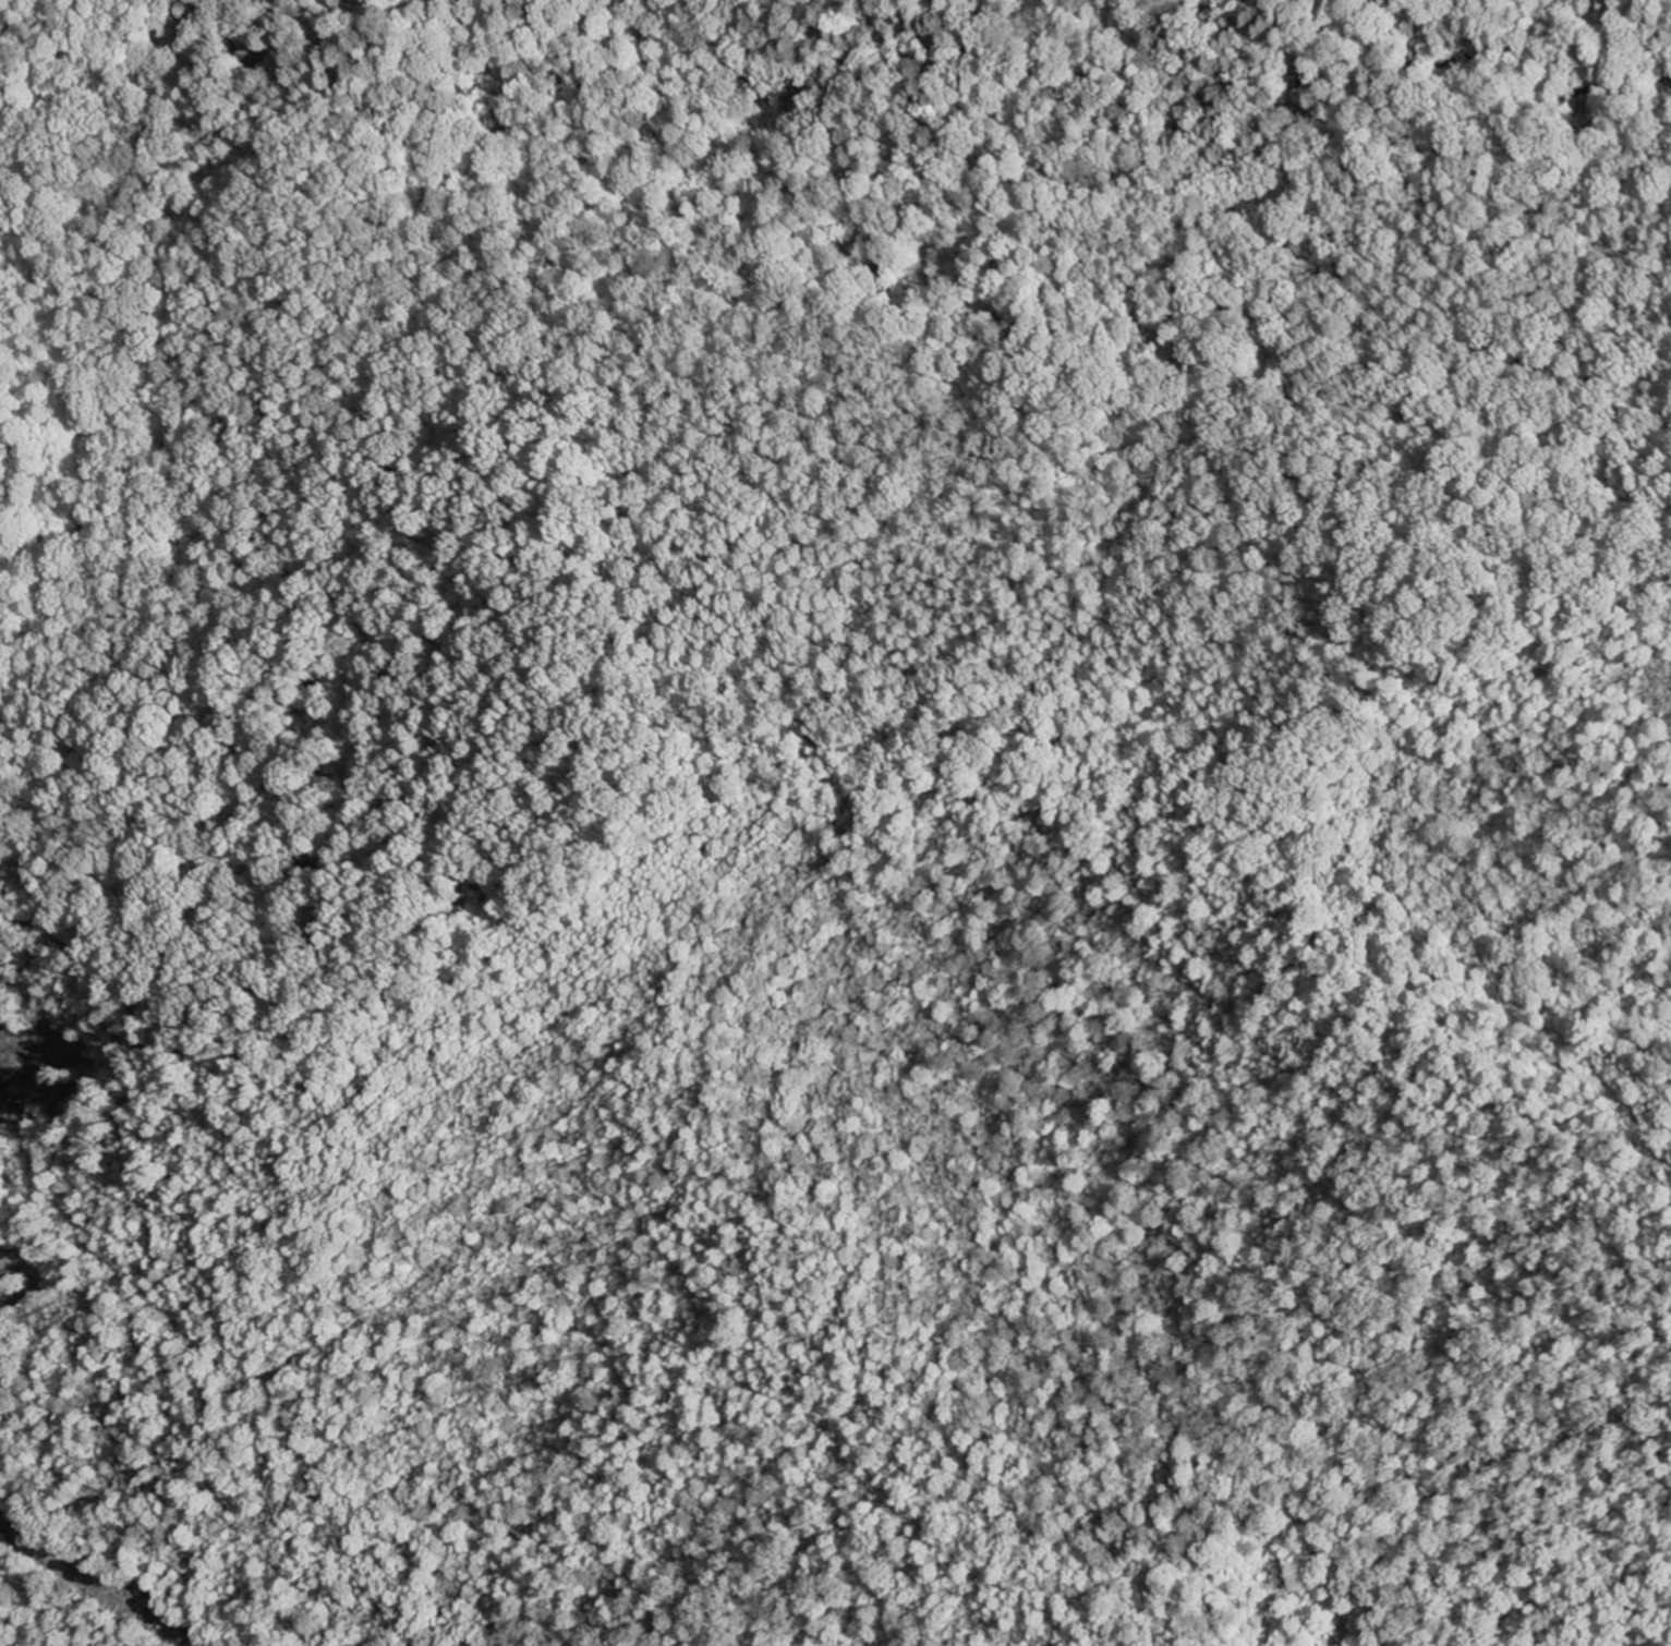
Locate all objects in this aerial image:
park: (17, 1283)

